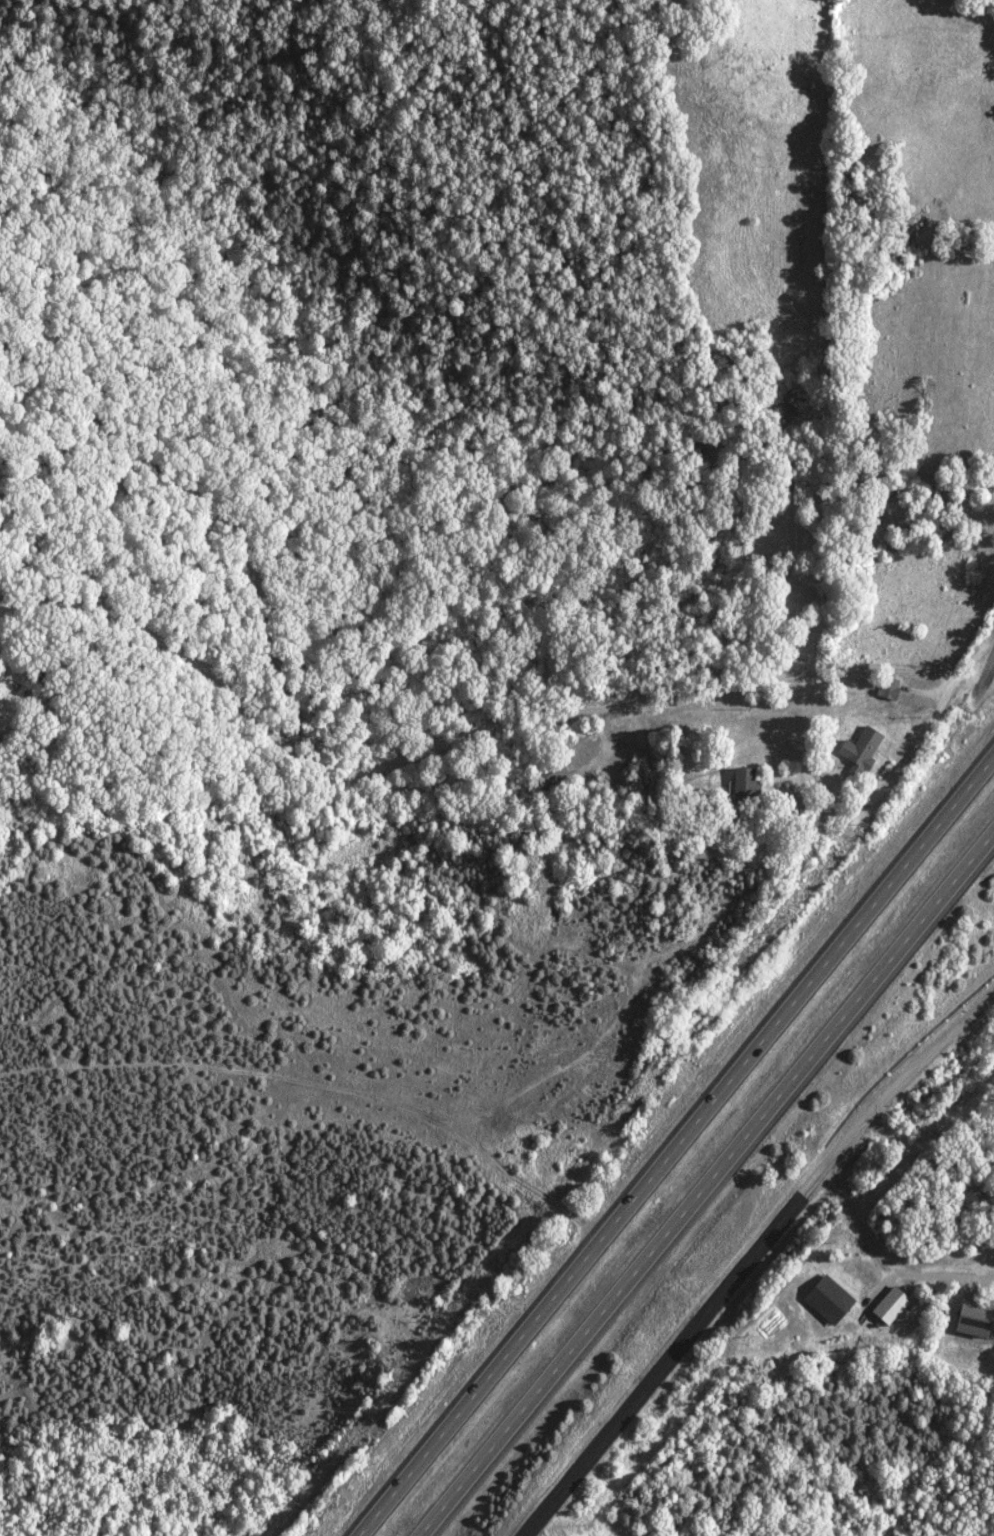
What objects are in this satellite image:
road: (984, 653)
road: (784, 667)
building: (885, 687)
road: (941, 703)
building: (857, 748)
building: (739, 780)
road: (677, 1147)
road: (705, 1181)
road: (751, 1258)
road: (884, 1265)
building: (824, 1298)
building: (886, 1304)
building: (968, 1319)
road: (813, 1463)

